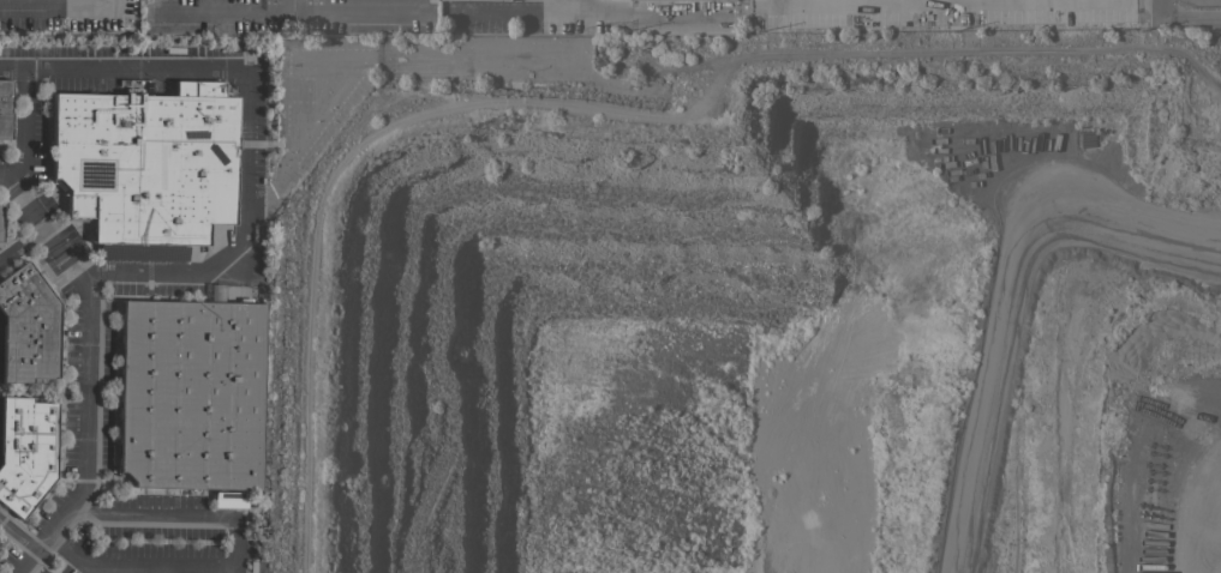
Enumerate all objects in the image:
building: (490, 0)
road: (56, 4)
road: (577, 4)
road: (288, 6)
road: (286, 12)
road: (1186, 18)
building: (5, 109)
road: (22, 127)
road: (247, 127)
building: (146, 162)
road: (327, 182)
road: (20, 242)
building: (214, 292)
quarry: (778, 319)
building: (26, 326)
road: (89, 368)
building: (190, 394)
building: (24, 451)
building: (228, 499)
road: (18, 535)
road: (231, 555)
road: (231, 567)
road: (178, 568)

